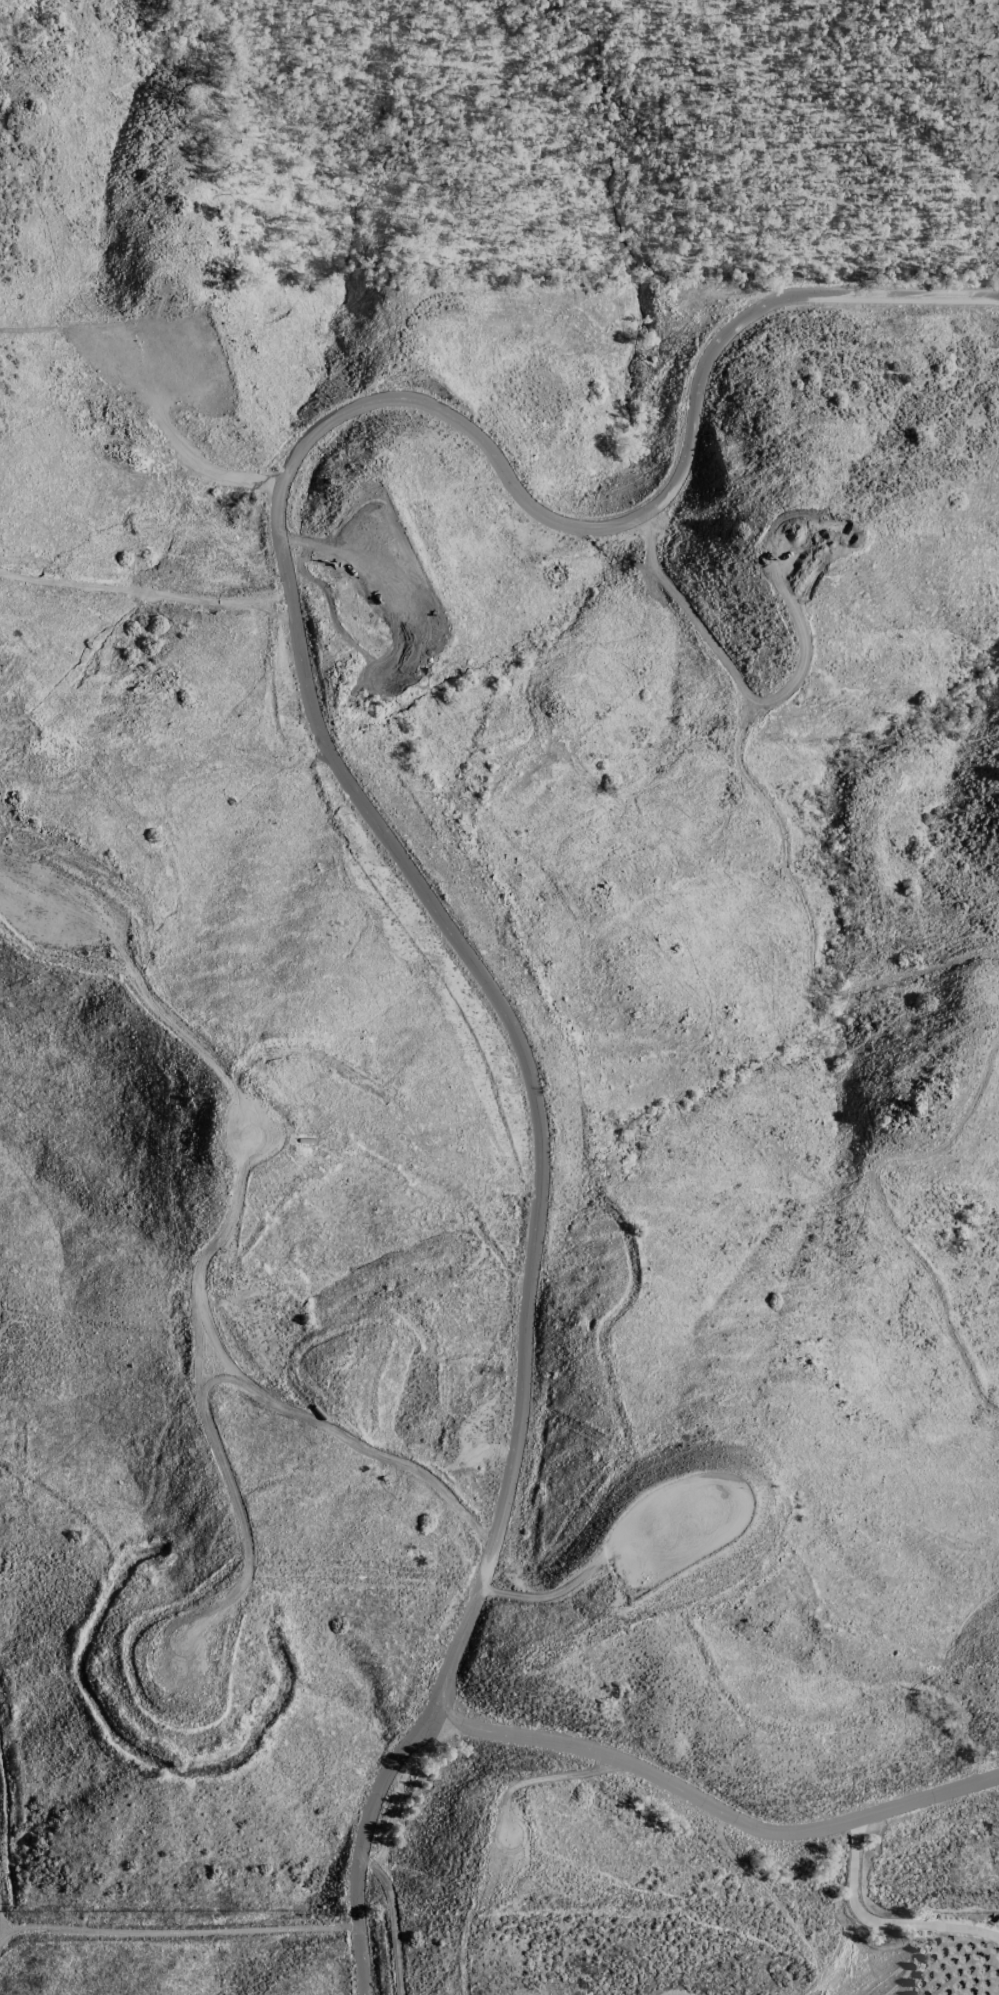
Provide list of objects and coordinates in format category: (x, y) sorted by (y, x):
road: (794, 611)
road: (363, 803)
road: (776, 828)
road: (889, 1206)
road: (226, 1231)
road: (616, 1553)
road: (853, 1625)
road: (714, 1808)
road: (880, 1922)
road: (1, 1933)
road: (177, 1935)

